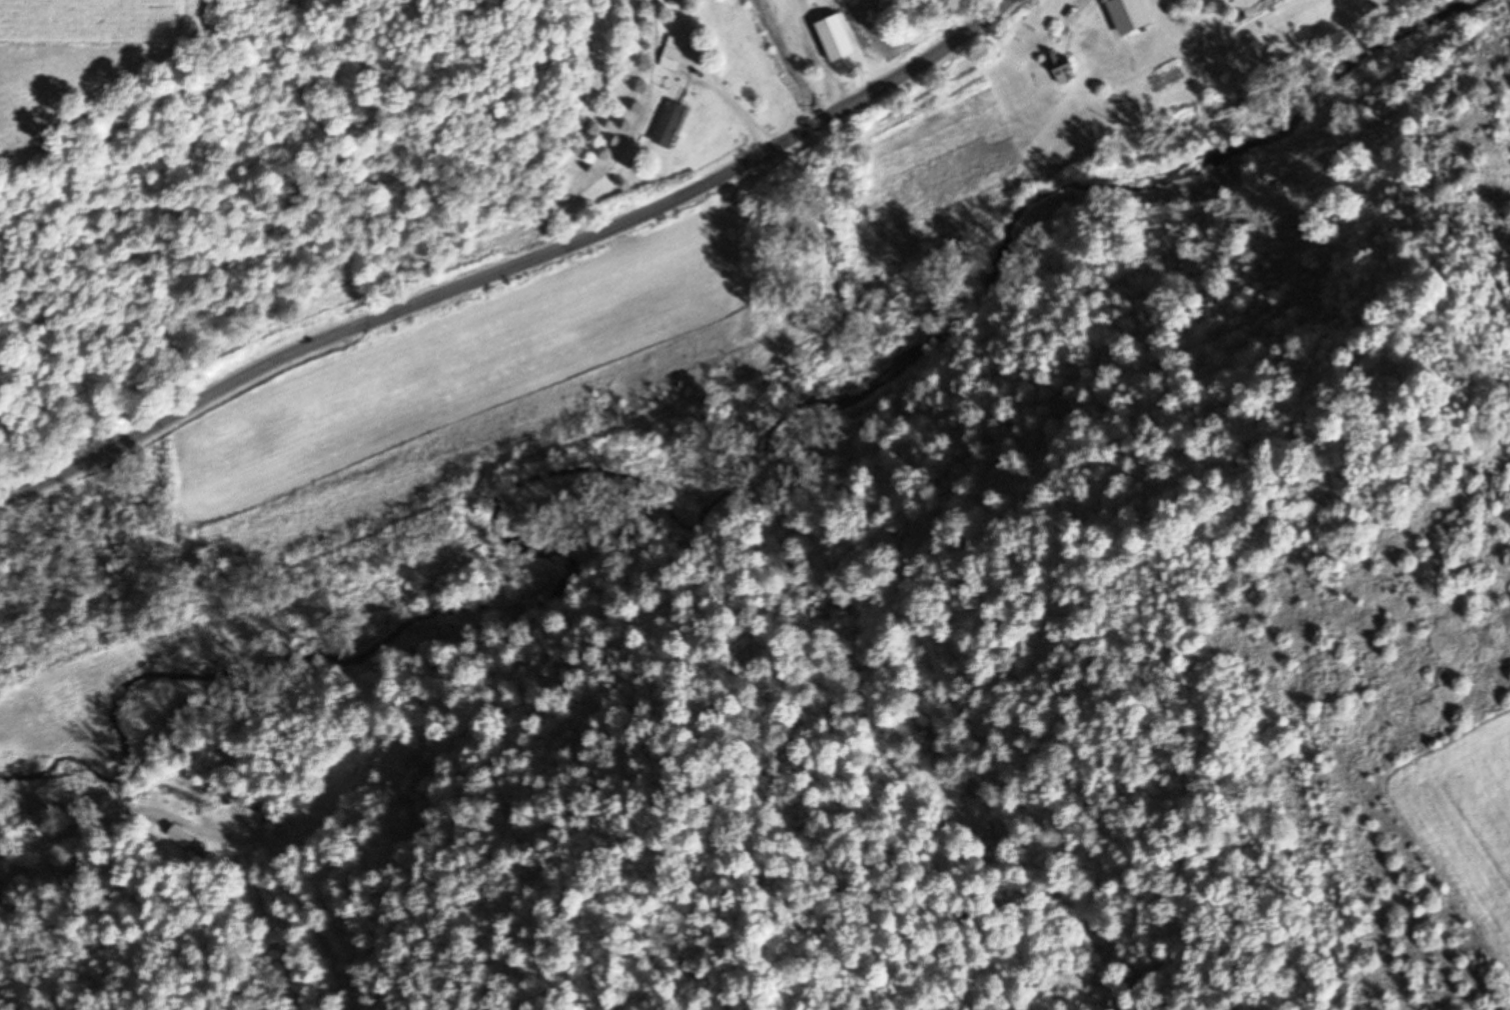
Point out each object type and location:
building: (1126, 15)
building: (672, 54)
building: (1057, 64)
building: (668, 125)
road: (517, 267)
building: (183, 807)

